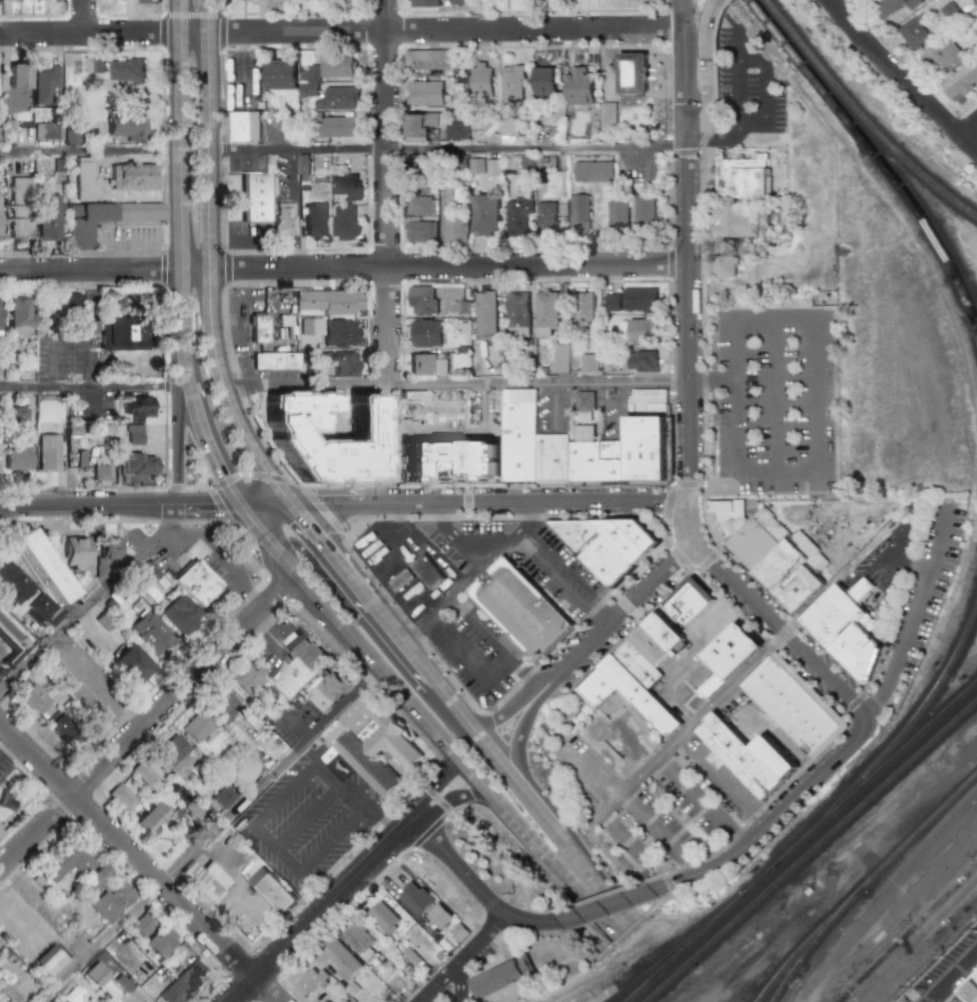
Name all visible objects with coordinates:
building: (16, 0)
building: (148, 1)
building: (457, 2)
building: (423, 3)
building: (895, 6)
road: (84, 16)
road: (342, 31)
building: (916, 32)
building: (976, 32)
road: (710, 40)
road: (584, 46)
road: (740, 48)
building: (943, 57)
building: (428, 60)
building: (97, 64)
road: (684, 69)
building: (126, 70)
building: (324, 72)
building: (279, 74)
building: (631, 74)
building: (18, 76)
road: (662, 76)
road: (904, 78)
building: (961, 80)
building: (481, 81)
building: (544, 81)
road: (765, 83)
building: (44, 85)
building: (512, 85)
building: (579, 86)
flagpole: (658, 91)
building: (423, 93)
road: (739, 93)
building: (337, 98)
road: (702, 114)
building: (607, 115)
railway: (860, 118)
building: (245, 126)
building: (332, 126)
building: (418, 126)
building: (126, 127)
road: (754, 127)
building: (8, 131)
building: (47, 131)
building: (455, 131)
building: (509, 131)
road: (969, 133)
building: (69, 137)
road: (715, 139)
road: (534, 146)
road: (298, 149)
road: (91, 150)
road: (684, 152)
railway: (874, 157)
building: (418, 164)
building: (475, 166)
building: (492, 167)
building: (302, 168)
building: (592, 171)
building: (131, 176)
building: (741, 177)
building: (83, 180)
building: (346, 186)
building: (253, 197)
building: (442, 198)
building: (418, 205)
building: (18, 207)
building: (643, 210)
building: (617, 211)
building: (519, 213)
building: (578, 214)
building: (485, 215)
building: (46, 217)
building: (546, 217)
building: (103, 219)
building: (282, 219)
building: (314, 220)
building: (735, 222)
building: (344, 223)
building: (454, 229)
building: (419, 232)
road: (147, 245)
road: (387, 252)
road: (184, 258)
road: (210, 262)
building: (723, 266)
road: (343, 268)
building: (639, 300)
building: (71, 301)
building: (327, 301)
building: (433, 301)
building: (611, 302)
building: (583, 308)
building: (485, 313)
building: (546, 313)
building: (18, 315)
building: (518, 315)
road: (747, 316)
road: (669, 318)
road: (686, 320)
building: (310, 326)
road: (91, 328)
building: (640, 329)
building: (260, 333)
building: (337, 333)
building: (424, 333)
street lamp: (793, 333)
building: (119, 334)
street lamp: (754, 334)
building: (560, 358)
building: (642, 361)
road: (50, 362)
building: (339, 363)
building: (588, 363)
building: (427, 364)
building: (270, 366)
road: (711, 381)
road: (306, 383)
road: (537, 384)
road: (95, 387)
road: (774, 395)
parking lot: (775, 400)
building: (584, 401)
street lamp: (755, 401)
street lamp: (794, 401)
building: (138, 407)
road: (556, 409)
building: (14, 416)
building: (71, 430)
road: (713, 433)
street lamp: (835, 433)
building: (134, 435)
road: (180, 445)
building: (646, 451)
building: (47, 452)
street lamp: (794, 452)
street lamp: (755, 453)
building: (18, 457)
building: (136, 464)
road: (703, 475)
traffic signals: (225, 476)
road: (669, 488)
street lamp: (773, 495)
road: (539, 500)
road: (267, 504)
road: (341, 504)
road: (90, 505)
road: (210, 505)
traffic signals: (212, 505)
traffic signals: (327, 505)
building: (727, 510)
road: (690, 521)
road: (312, 527)
traffic signals: (312, 527)
road: (261, 528)
road: (455, 538)
traffic signals: (291, 544)
building: (606, 544)
road: (304, 546)
building: (74, 551)
road: (225, 556)
building: (108, 557)
building: (780, 559)
road: (392, 560)
road: (568, 565)
road: (911, 565)
building: (44, 567)
building: (425, 571)
road: (474, 574)
building: (154, 575)
road: (350, 576)
road: (551, 580)
road: (838, 580)
building: (12, 582)
building: (196, 582)
building: (396, 582)
building: (688, 600)
road: (94, 601)
road: (627, 609)
building: (43, 610)
building: (522, 610)
building: (183, 615)
road: (602, 617)
road: (914, 618)
building: (849, 623)
road: (269, 629)
road: (484, 630)
road: (779, 630)
building: (662, 631)
building: (152, 632)
building: (13, 639)
road: (403, 641)
building: (648, 646)
road: (372, 655)
building: (726, 656)
building: (637, 663)
building: (131, 664)
road: (470, 666)
building: (297, 668)
road: (527, 673)
building: (246, 679)
road: (547, 680)
railway: (975, 684)
building: (596, 688)
building: (329, 692)
building: (639, 695)
building: (33, 698)
road: (452, 703)
building: (221, 705)
road: (689, 705)
building: (793, 706)
road: (506, 712)
building: (885, 715)
road: (149, 721)
road: (693, 724)
building: (196, 727)
building: (67, 731)
road: (776, 732)
railway: (896, 737)
building: (651, 740)
building: (373, 743)
road: (614, 750)
building: (174, 751)
building: (734, 754)
building: (773, 758)
street lamp: (559, 764)
road: (519, 766)
street lamp: (703, 771)
railway: (880, 771)
building: (145, 775)
road: (716, 777)
road: (295, 781)
railway: (886, 782)
road: (434, 786)
street lamp: (641, 788)
street lamp: (723, 793)
road: (351, 795)
building: (121, 796)
building: (221, 797)
road: (456, 797)
street lamp: (664, 800)
road: (665, 801)
road: (704, 802)
street lamp: (598, 804)
building: (194, 809)
street lamp: (679, 815)
parking lot: (308, 816)
building: (151, 817)
road: (307, 817)
road: (380, 817)
road: (774, 820)
road: (403, 823)
street lamp: (630, 823)
road: (548, 825)
road: (661, 833)
road: (213, 834)
building: (699, 837)
road: (626, 839)
road: (126, 849)
road: (539, 849)
street lamp: (617, 858)
building: (66, 861)
road: (306, 866)
road: (510, 868)
railway: (766, 874)
building: (205, 879)
road: (474, 884)
railway: (864, 885)
building: (270, 889)
road: (523, 891)
building: (104, 894)
building: (415, 898)
road: (603, 907)
building: (438, 916)
road: (311, 917)
building: (382, 917)
building: (143, 924)
building: (458, 931)
road: (632, 931)
railway: (721, 933)
railway: (908, 933)
building: (358, 939)
building: (159, 940)
railway: (915, 940)
railway: (815, 942)
railway: (921, 947)
railway: (678, 948)
railway: (686, 948)
railway: (929, 954)
road: (463, 958)
road: (496, 958)
building: (50, 959)
building: (340, 960)
building: (96, 974)
road: (461, 976)
road: (951, 976)
building: (311, 979)
building: (497, 979)
building: (182, 983)
railway: (613, 984)
railway: (643, 988)
road: (266, 989)
building: (970, 989)
building: (71, 994)
road: (454, 996)
road: (509, 996)
building: (342, 1001)
building: (343, 1001)

